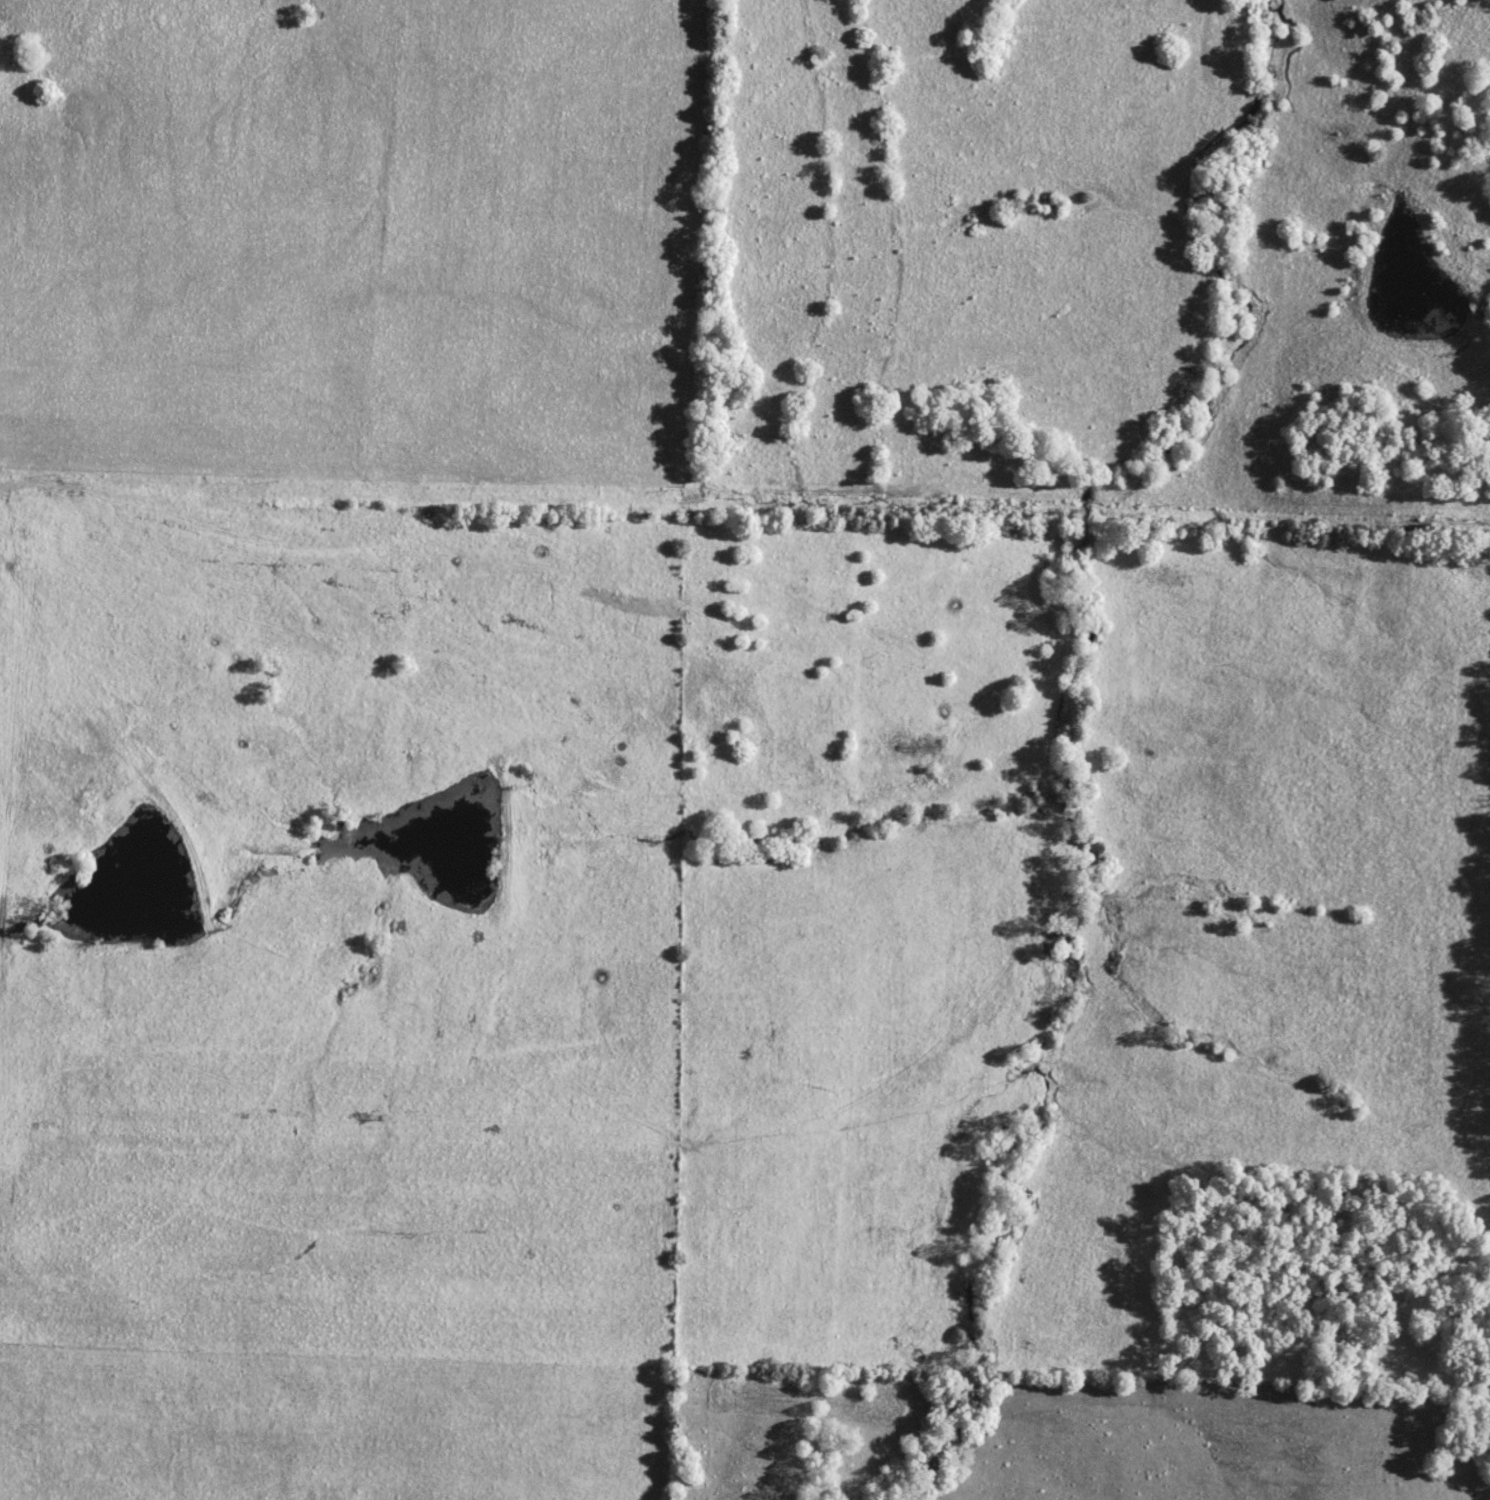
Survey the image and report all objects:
road: (31, 485)
building: (34, 531)

